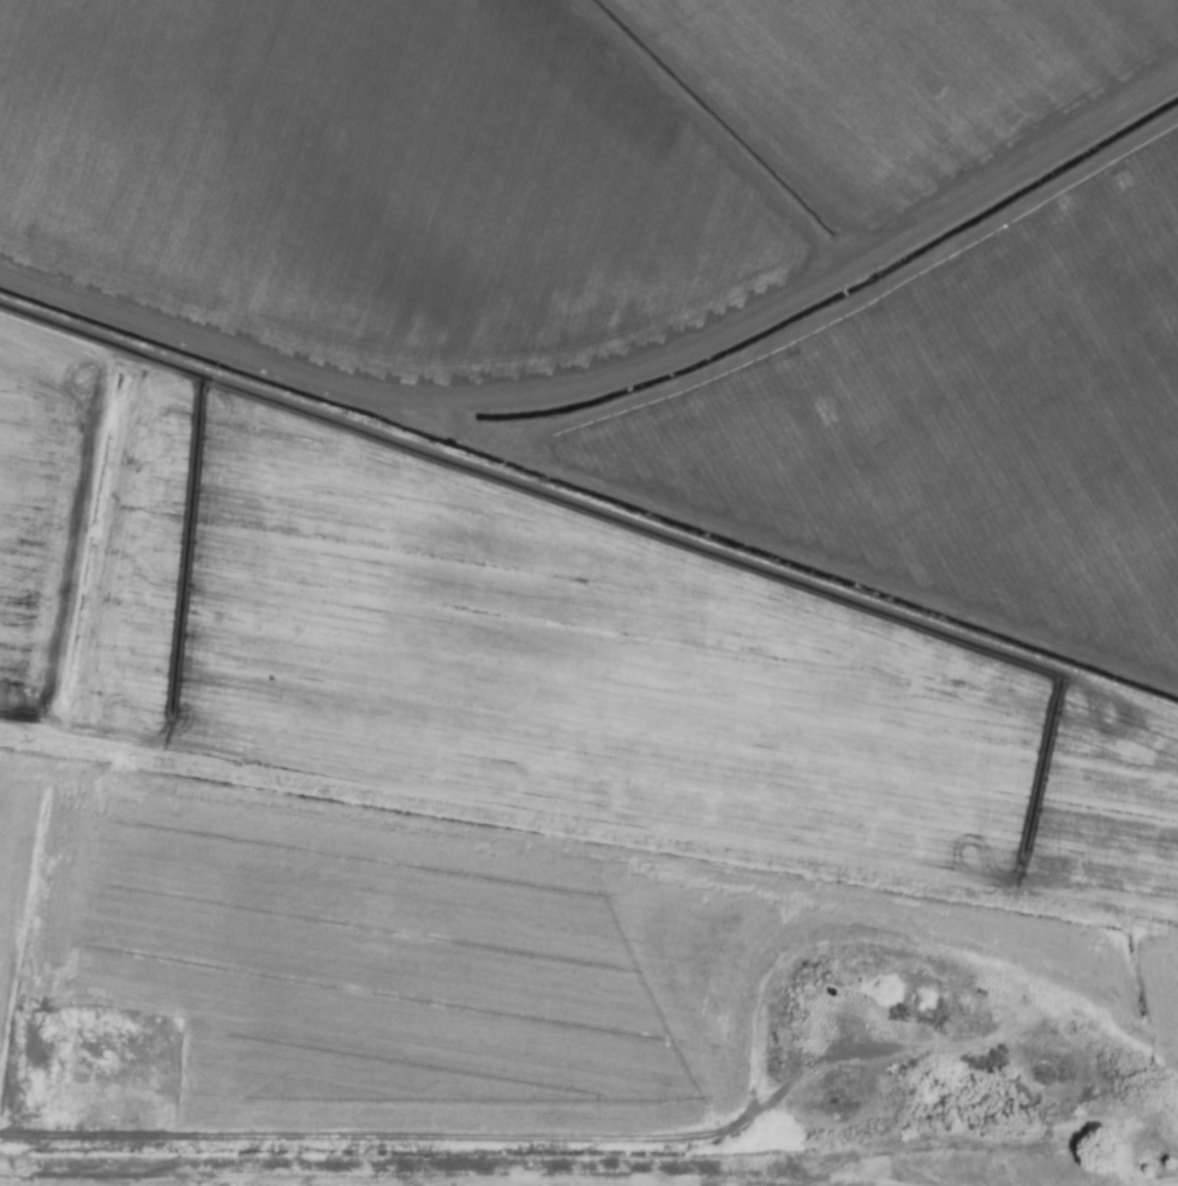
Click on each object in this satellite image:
crop: (588, 593)
road: (1077, 1084)
road: (513, 1140)

